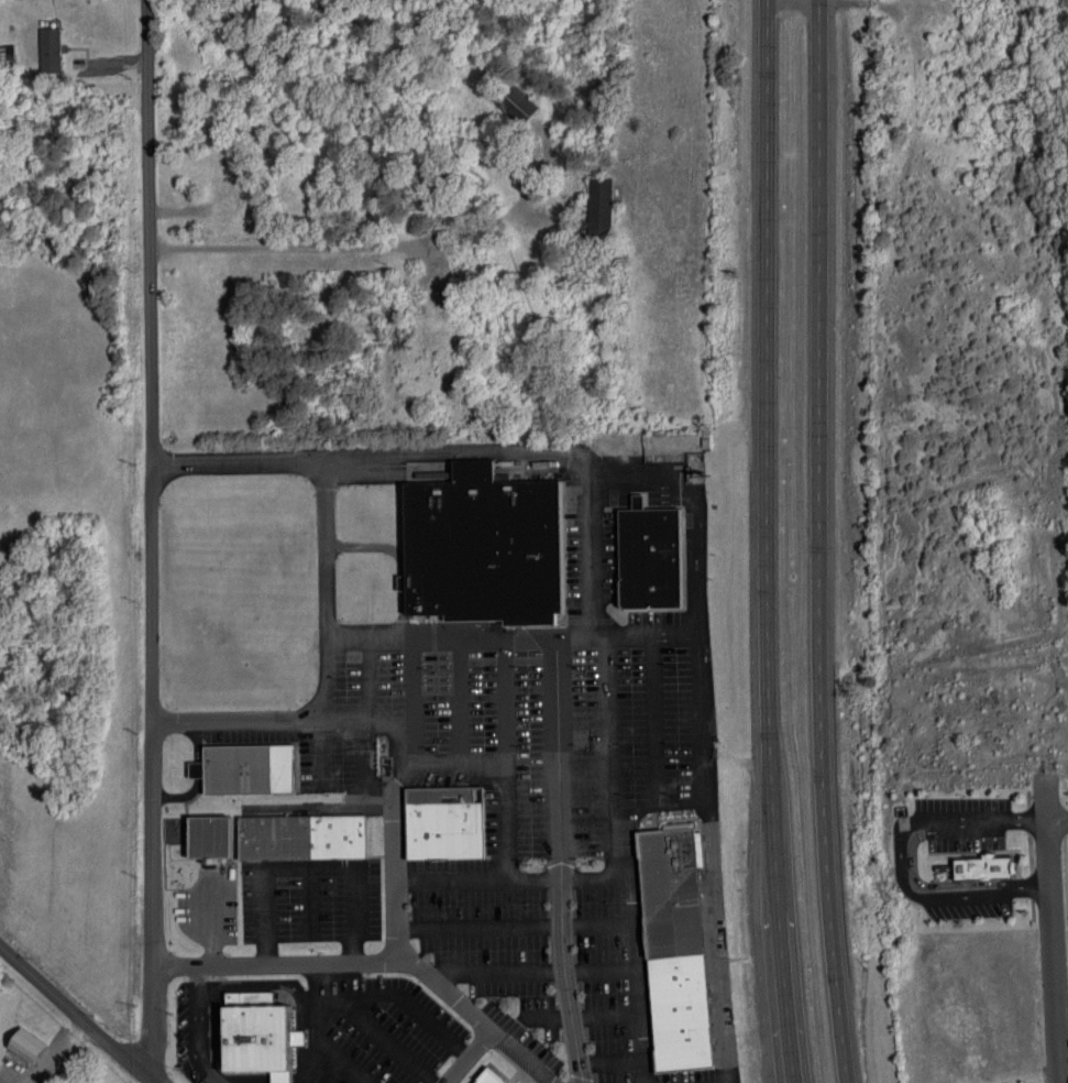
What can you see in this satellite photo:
road: (795, 4)
building: (51, 50)
building: (521, 105)
building: (601, 208)
road: (318, 247)
road: (540, 453)
road: (152, 537)
road: (767, 541)
road: (823, 541)
building: (484, 547)
building: (651, 558)
road: (485, 638)
road: (276, 716)
building: (246, 769)
road: (506, 781)
road: (705, 786)
road: (1024, 818)
road: (962, 819)
parking lot: (962, 820)
building: (445, 822)
road: (1056, 824)
building: (210, 836)
building: (304, 836)
road: (393, 849)
road: (629, 857)
building: (980, 865)
road: (305, 867)
road: (451, 878)
road: (923, 885)
road: (1027, 885)
road: (914, 894)
parking lot: (966, 905)
road: (1048, 928)
building: (676, 945)
road: (374, 959)
road: (400, 1000)
road: (1060, 1013)
road: (76, 1014)
road: (318, 1021)
road: (197, 1027)
building: (260, 1035)
road: (388, 1039)
building: (27, 1046)
road: (463, 1054)
building: (489, 1076)

